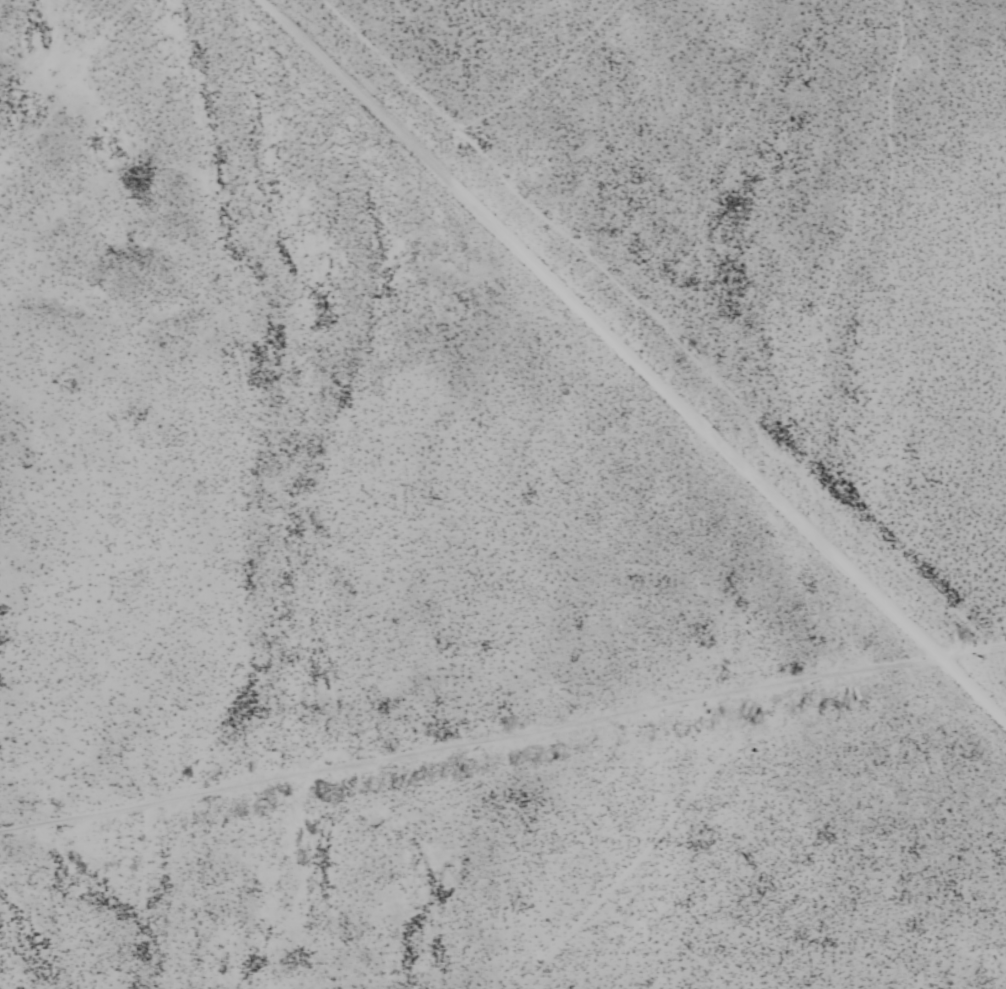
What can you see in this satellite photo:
road: (629, 362)
road: (502, 736)

